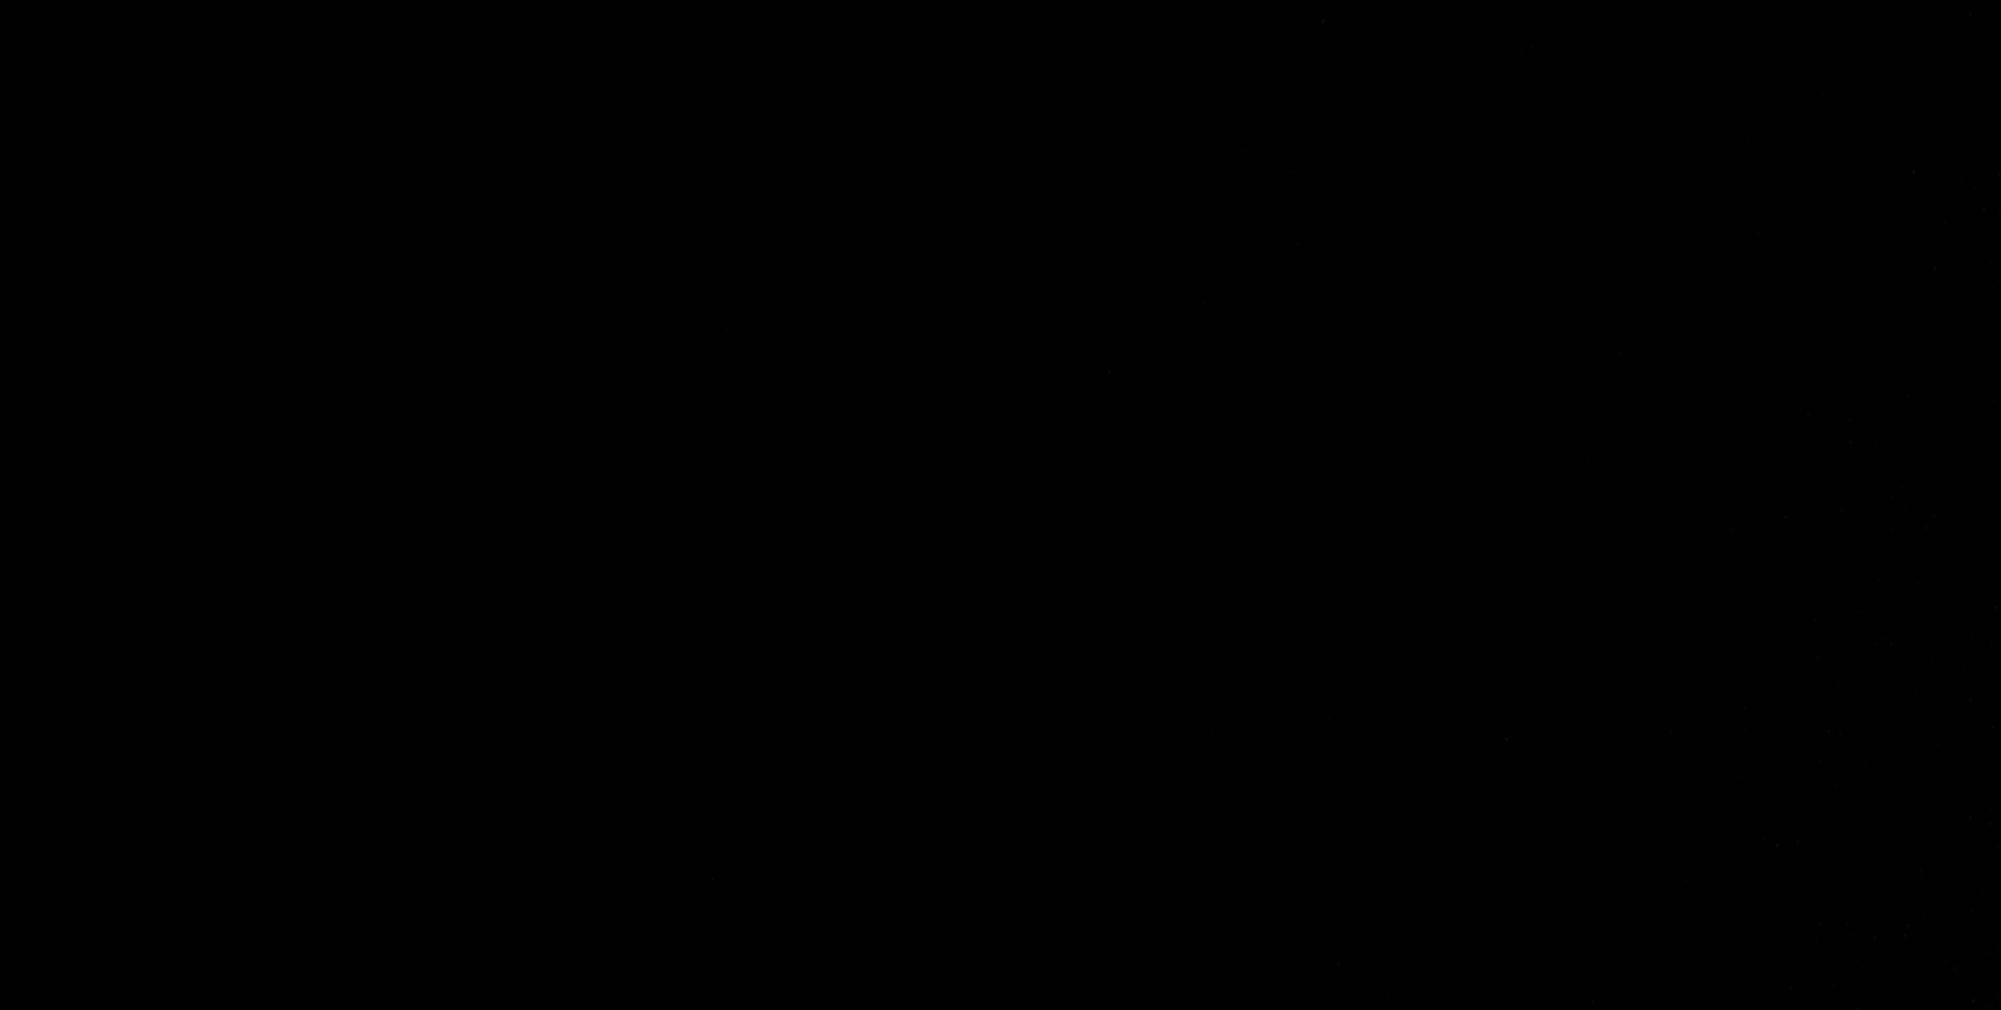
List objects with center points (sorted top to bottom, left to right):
river: (339, 452)

